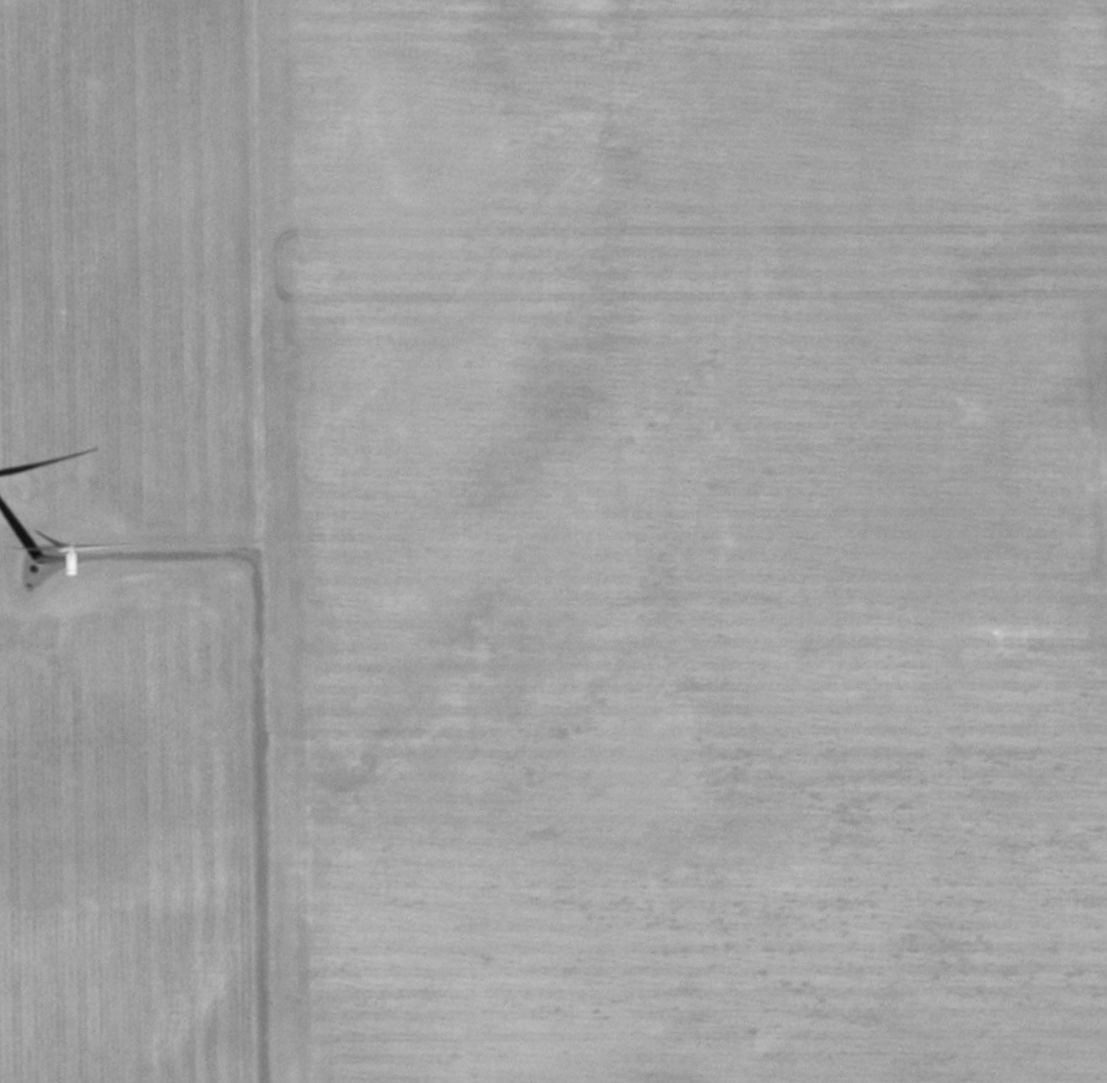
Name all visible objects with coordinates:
wind turbine: (12, 558)
road: (257, 732)

